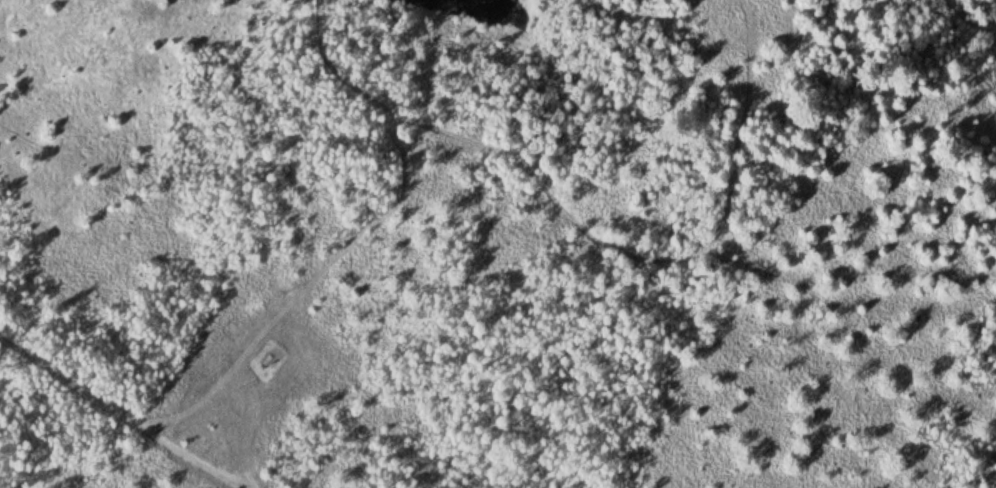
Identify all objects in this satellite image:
road: (969, 21)
road: (592, 235)
road: (123, 412)

